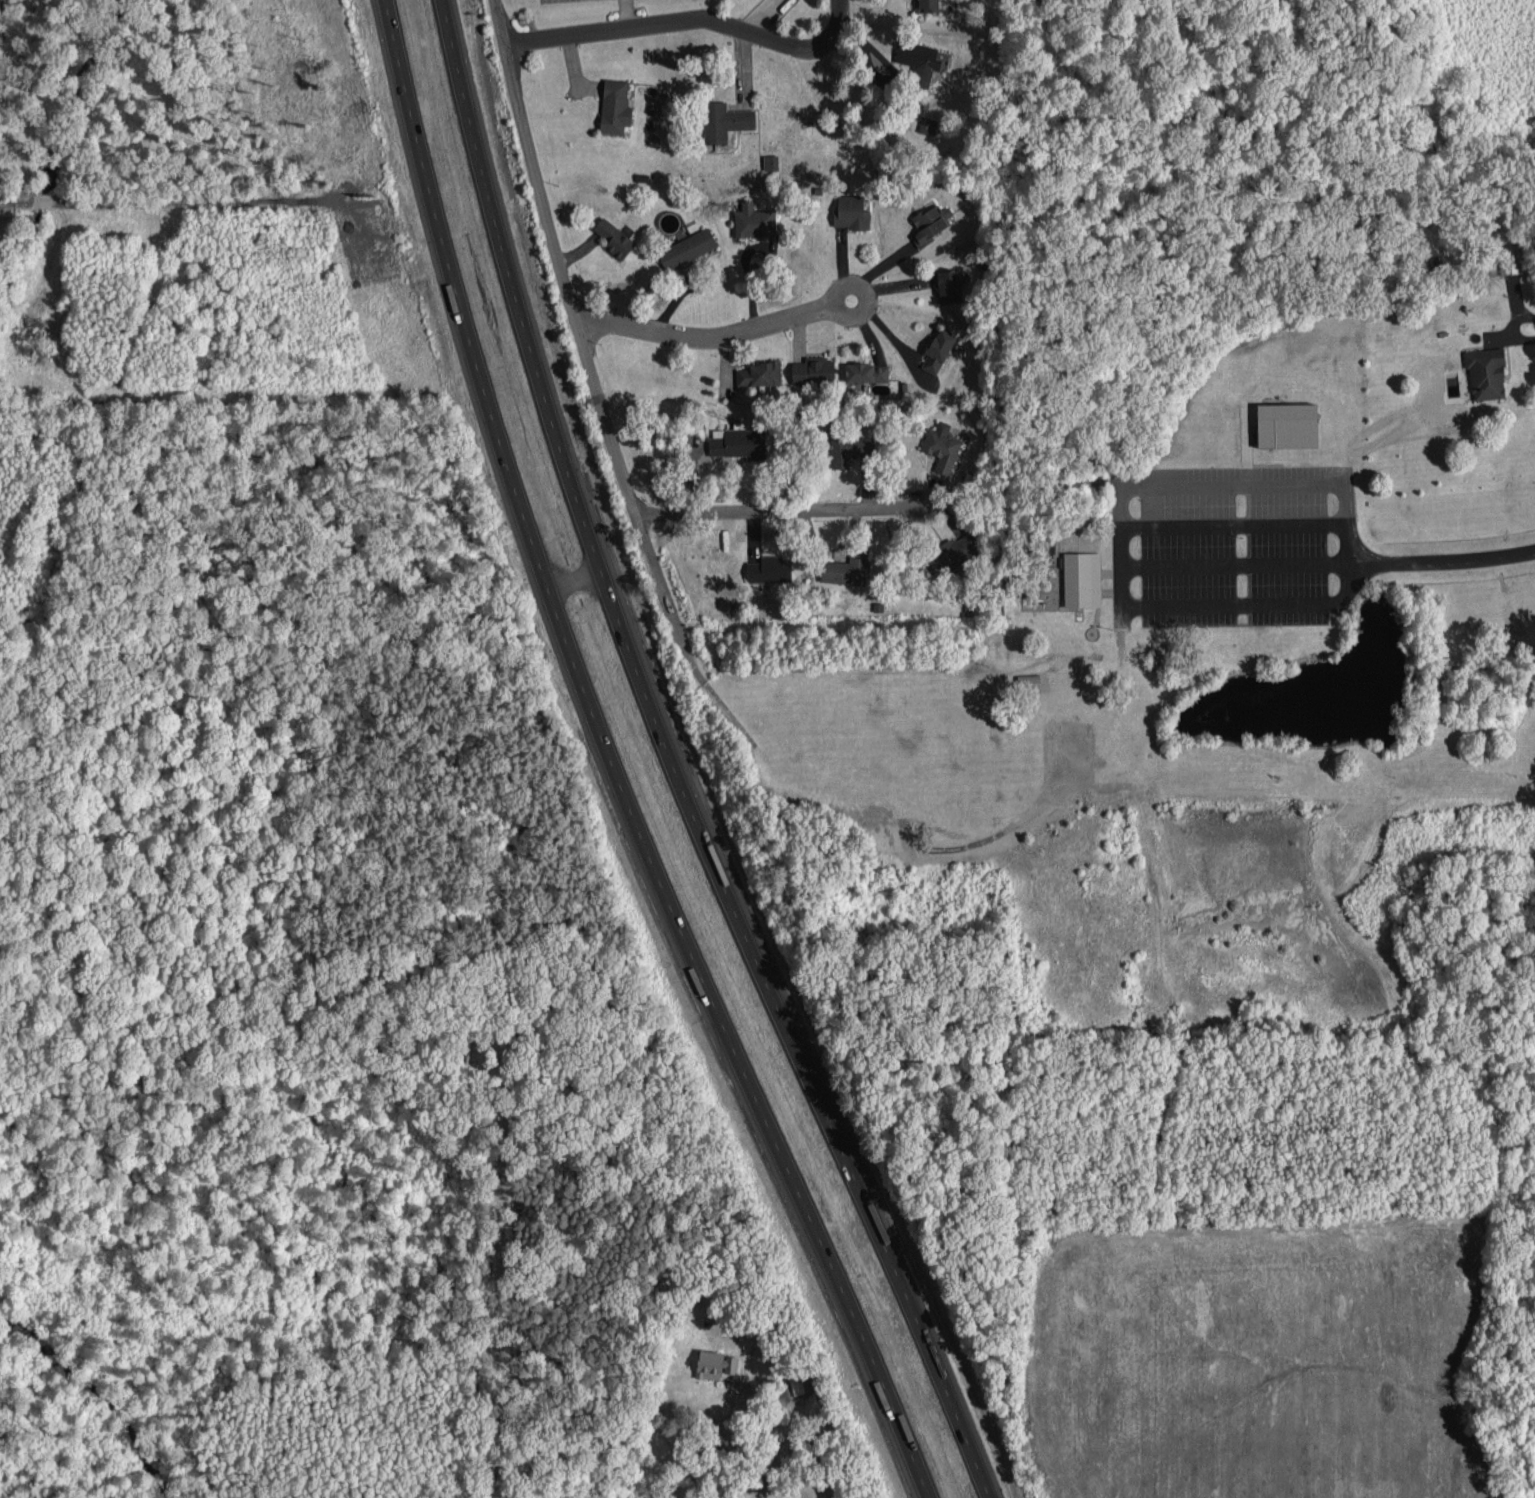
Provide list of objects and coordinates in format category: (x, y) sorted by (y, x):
parking lot: (541, 0)
building: (927, 4)
road: (686, 20)
building: (920, 59)
building: (616, 105)
building: (726, 119)
building: (771, 160)
building: (851, 210)
building: (755, 220)
building: (930, 222)
building: (615, 237)
building: (687, 247)
building: (949, 284)
road: (578, 331)
road: (711, 334)
building: (937, 349)
building: (815, 369)
building: (868, 371)
building: (1488, 372)
building: (759, 373)
building: (1290, 424)
building: (740, 441)
building: (942, 445)
building: (851, 448)
road: (774, 510)
building: (958, 551)
road: (1449, 561)
building: (848, 567)
building: (770, 568)
building: (1083, 578)
road: (574, 583)
road: (613, 764)
road: (672, 764)
building: (715, 1367)

